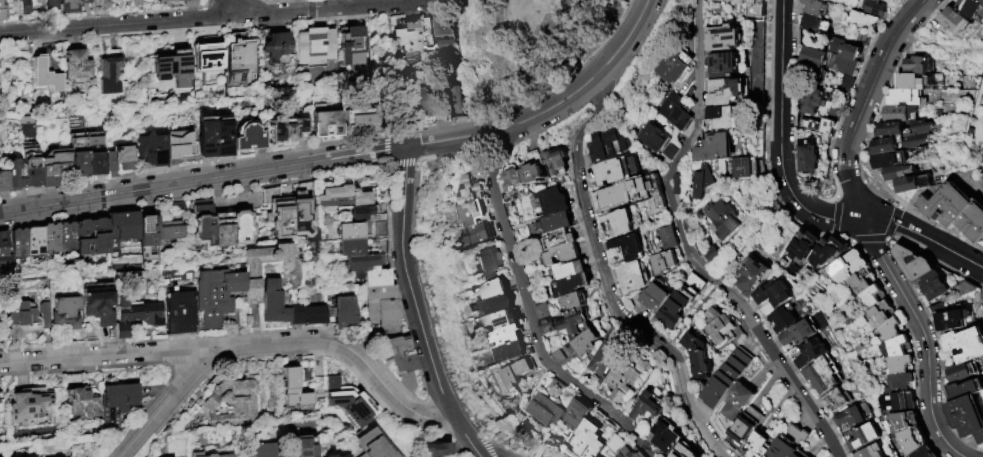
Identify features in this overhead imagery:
building: (981, 0)
road: (278, 1)
building: (134, 3)
building: (100, 5)
building: (189, 5)
building: (70, 6)
road: (252, 6)
building: (50, 7)
road: (457, 7)
building: (816, 7)
building: (25, 8)
building: (875, 8)
building: (972, 8)
building: (753, 9)
building: (3, 10)
road: (106, 14)
road: (229, 15)
building: (862, 19)
building: (813, 22)
building: (958, 22)
road: (229, 26)
building: (428, 31)
building: (449, 33)
building: (403, 35)
road: (486, 39)
building: (726, 39)
building: (352, 40)
road: (535, 43)
road: (642, 43)
road: (940, 43)
building: (275, 44)
building: (316, 46)
park: (529, 46)
building: (846, 49)
building: (208, 51)
building: (178, 53)
building: (816, 57)
building: (242, 63)
building: (844, 65)
building: (920, 65)
building: (78, 66)
building: (725, 66)
building: (678, 67)
building: (169, 72)
building: (111, 74)
building: (47, 76)
road: (567, 79)
building: (918, 83)
building: (845, 84)
building: (728, 91)
road: (489, 92)
road: (603, 93)
building: (912, 98)
building: (816, 100)
building: (459, 101)
road: (863, 103)
building: (424, 105)
road: (551, 110)
building: (678, 112)
building: (900, 113)
building: (445, 116)
building: (360, 117)
building: (725, 118)
building: (326, 122)
building: (820, 127)
building: (288, 131)
building: (901, 136)
building: (224, 137)
building: (249, 137)
road: (780, 137)
building: (208, 138)
building: (659, 140)
building: (180, 145)
building: (611, 146)
building: (716, 148)
building: (152, 150)
building: (96, 154)
road: (684, 154)
building: (807, 154)
building: (79, 155)
building: (120, 158)
road: (237, 158)
building: (891, 160)
building: (558, 163)
building: (32, 165)
building: (55, 167)
building: (535, 167)
building: (749, 168)
building: (616, 171)
building: (899, 173)
building: (15, 176)
building: (516, 179)
road: (202, 180)
building: (4, 182)
building: (702, 182)
building: (915, 184)
building: (678, 185)
building: (471, 191)
building: (635, 194)
building: (345, 196)
building: (555, 202)
building: (303, 211)
building: (957, 211)
building: (279, 214)
building: (474, 214)
building: (366, 215)
building: (723, 219)
building: (556, 223)
building: (621, 223)
building: (204, 224)
building: (127, 225)
building: (242, 229)
building: (381, 229)
building: (223, 230)
building: (171, 231)
building: (351, 232)
building: (479, 234)
road: (924, 236)
building: (68, 237)
building: (101, 237)
building: (52, 238)
building: (85, 238)
building: (150, 239)
building: (561, 239)
building: (669, 239)
building: (37, 240)
building: (21, 243)
building: (804, 244)
building: (981, 244)
building: (351, 248)
building: (631, 248)
building: (827, 249)
building: (5, 253)
building: (561, 255)
building: (713, 255)
building: (125, 257)
building: (665, 262)
building: (364, 263)
building: (490, 263)
building: (916, 264)
building: (849, 268)
building: (569, 270)
building: (252, 272)
building: (755, 277)
building: (633, 278)
building: (377, 279)
road: (606, 282)
building: (863, 282)
building: (573, 286)
building: (936, 288)
building: (966, 289)
building: (493, 290)
road: (410, 295)
building: (776, 295)
building: (215, 297)
building: (873, 297)
building: (658, 298)
building: (577, 301)
building: (683, 301)
building: (272, 303)
building: (638, 303)
building: (495, 306)
building: (100, 308)
building: (384, 309)
building: (544, 312)
building: (180, 313)
building: (343, 313)
building: (66, 314)
building: (882, 314)
building: (45, 315)
road: (530, 315)
building: (137, 316)
building: (307, 316)
building: (785, 318)
building: (21, 320)
building: (505, 321)
building: (577, 321)
building: (954, 321)
building: (549, 326)
building: (724, 329)
building: (892, 330)
building: (800, 334)
building: (506, 336)
road: (924, 337)
building: (966, 346)
building: (579, 348)
building: (896, 348)
road: (353, 352)
building: (513, 352)
building: (398, 354)
building: (813, 354)
road: (108, 357)
building: (700, 357)
building: (607, 362)
building: (900, 365)
road: (784, 370)
building: (963, 373)
building: (332, 374)
building: (518, 374)
building: (825, 375)
building: (728, 379)
building: (406, 381)
building: (624, 383)
building: (901, 384)
building: (294, 390)
building: (0, 391)
building: (964, 391)
building: (80, 398)
building: (347, 400)
building: (838, 400)
building: (117, 402)
building: (739, 402)
building: (898, 402)
road: (169, 403)
building: (234, 403)
building: (28, 405)
building: (649, 406)
building: (547, 410)
building: (579, 414)
building: (856, 416)
building: (967, 418)
building: (905, 423)
building: (747, 427)
building: (587, 435)
building: (668, 437)
building: (865, 437)
building: (790, 443)
building: (914, 443)
building: (762, 444)
building: (374, 445)
road: (487, 445)
road: (472, 446)
building: (302, 447)
building: (438, 449)
building: (263, 450)
building: (877, 451)
building: (629, 453)
building: (929, 453)
building: (802, 454)
building: (345, 455)
building: (677, 455)
building: (211, 456)
building: (226, 456)
building: (331, 456)

